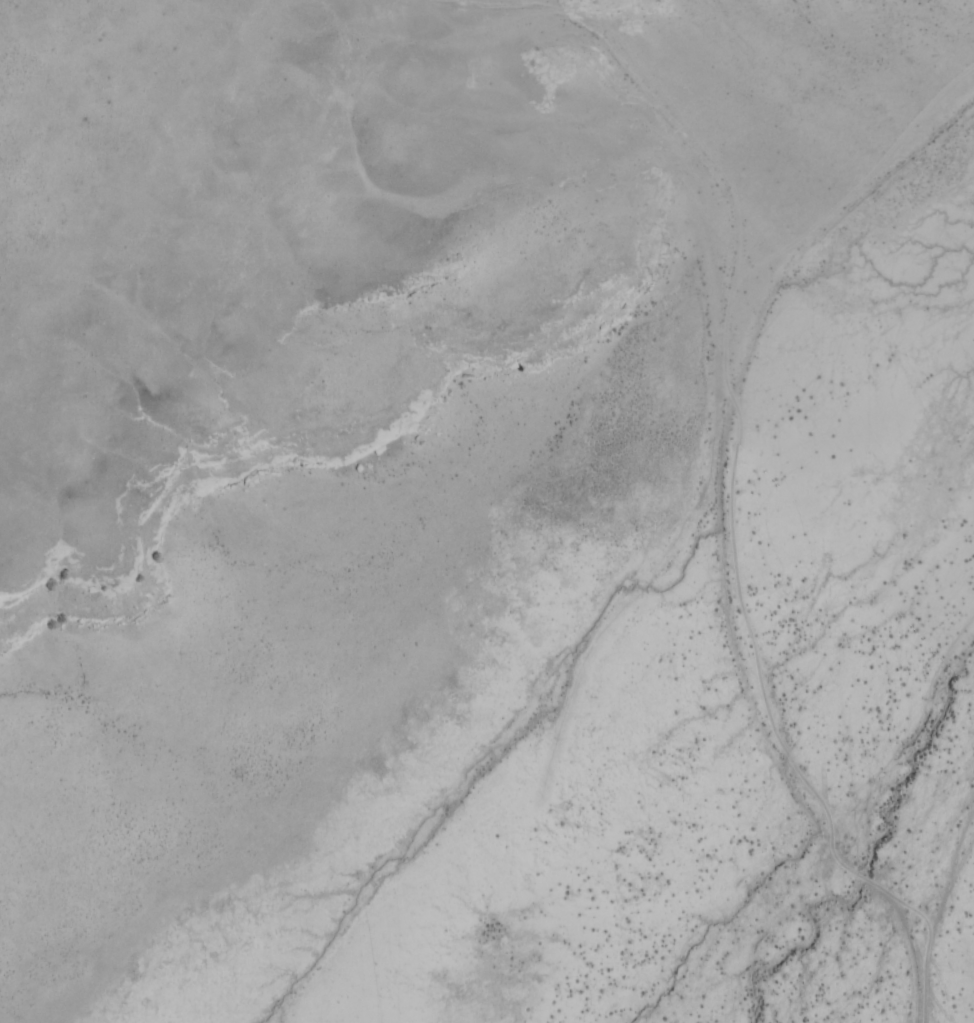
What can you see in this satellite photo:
road: (758, 556)
river: (864, 834)

